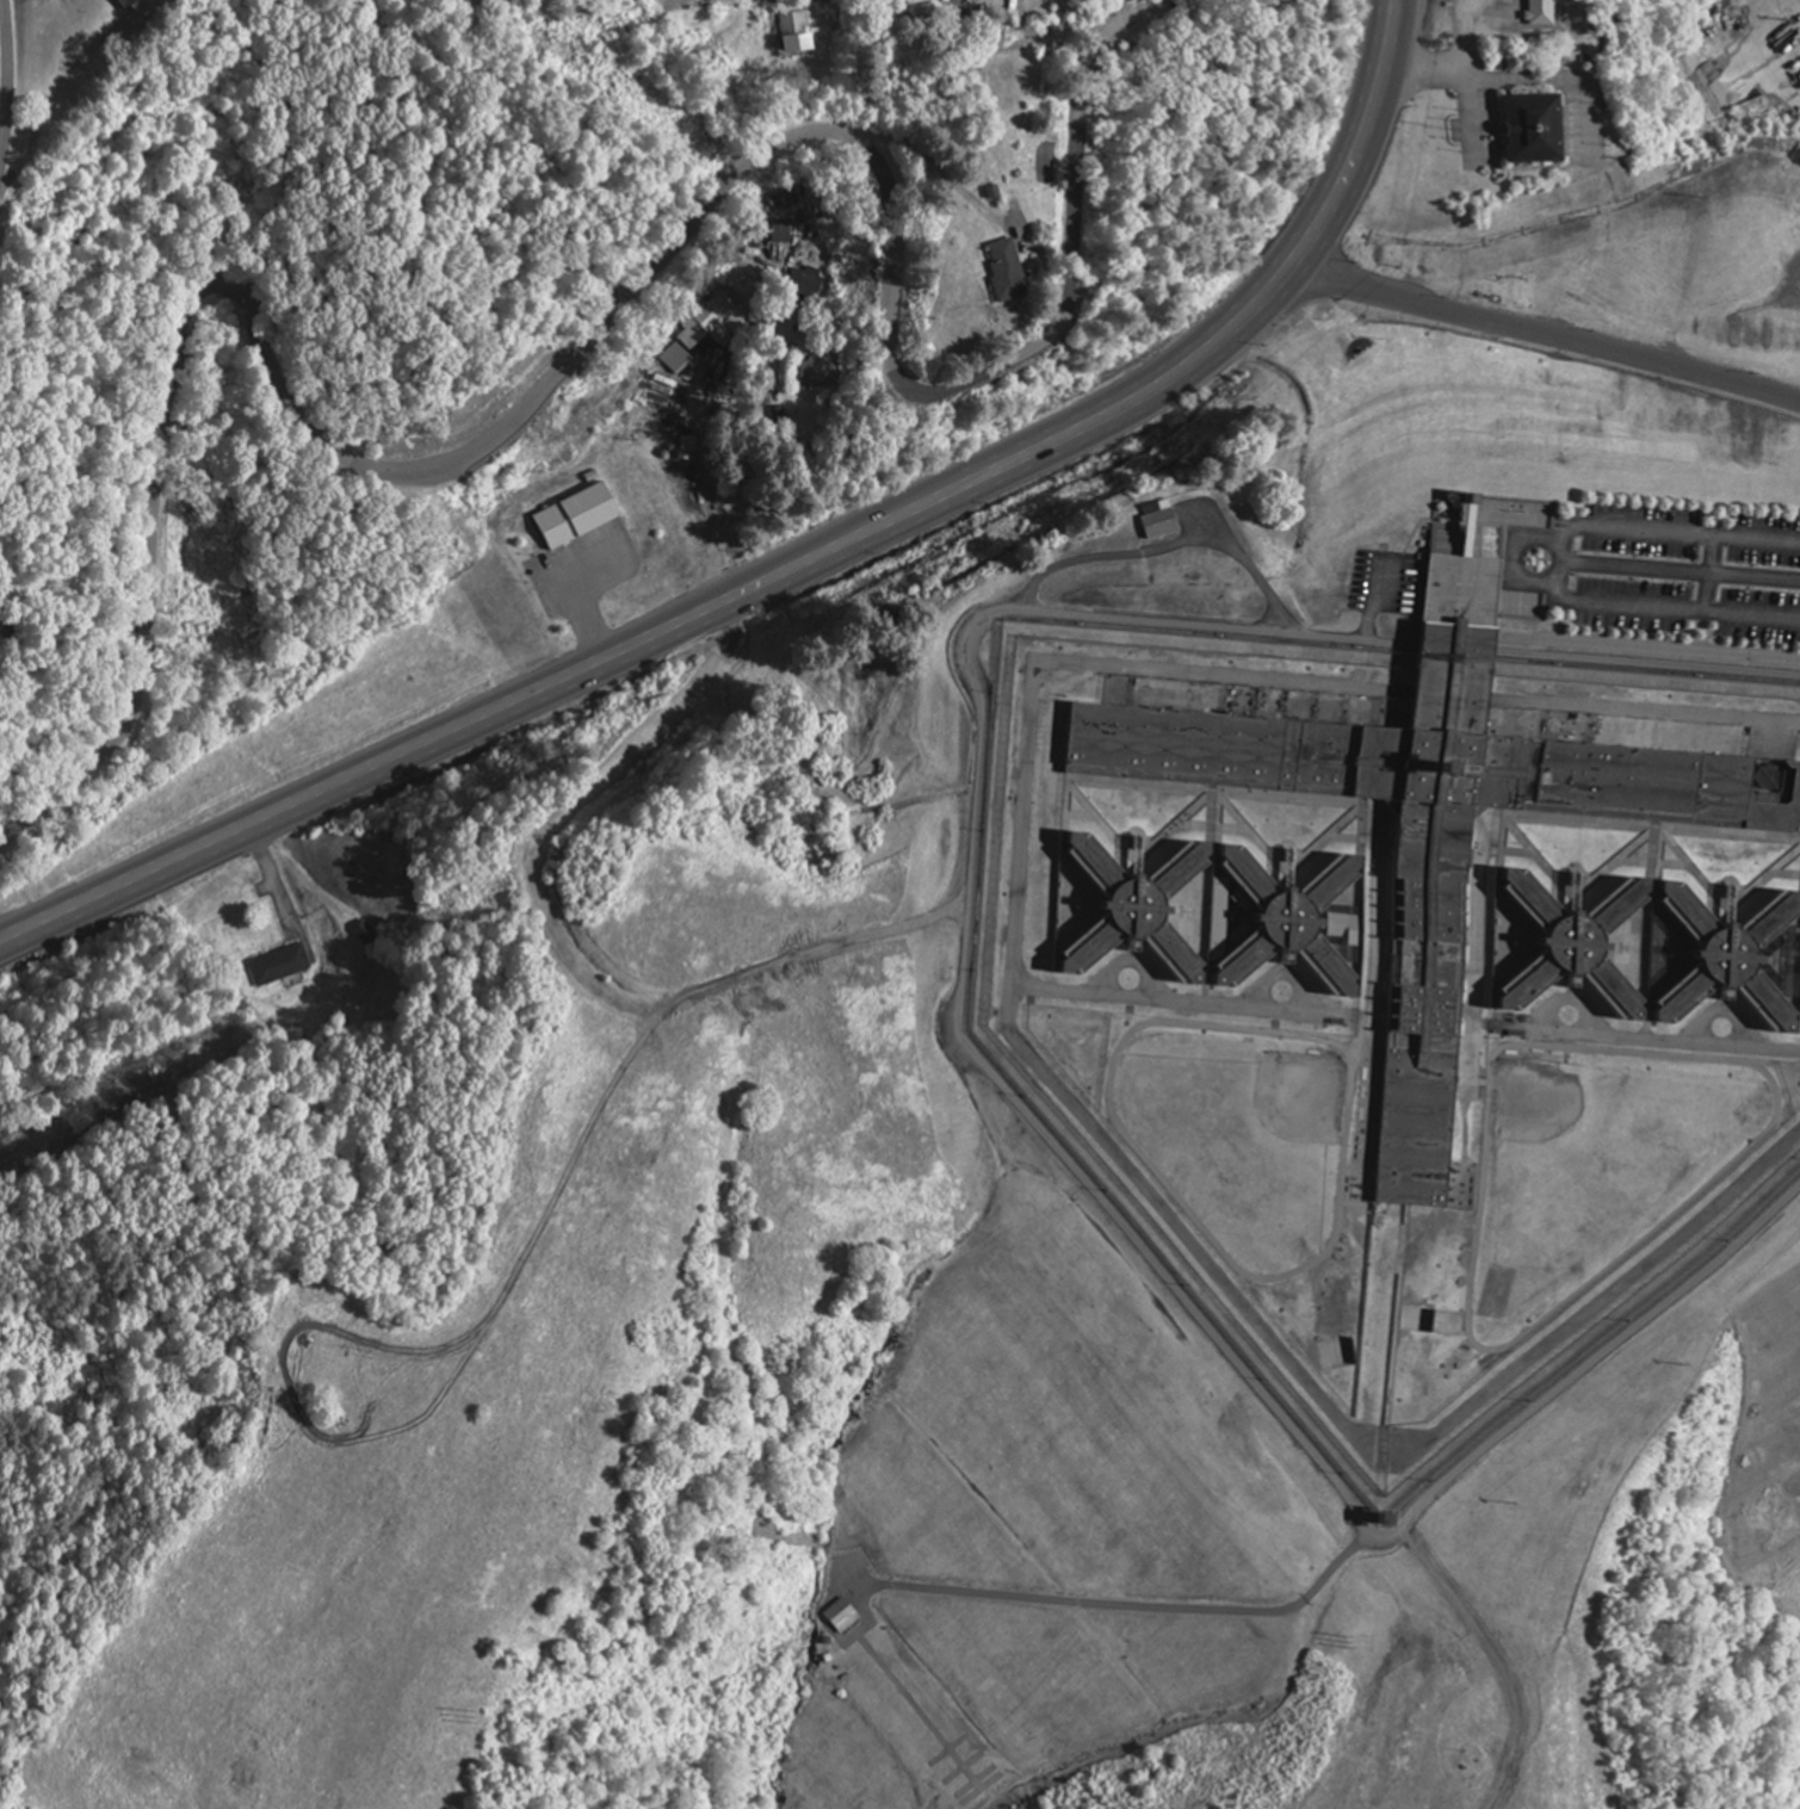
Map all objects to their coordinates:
road: (1250, 0)
road: (1157, 2)
building: (129, 4)
building: (1539, 12)
road: (569, 14)
building: (798, 32)
road: (963, 42)
road: (6, 86)
building: (1541, 132)
building: (784, 231)
building: (1010, 271)
building: (713, 321)
road: (1541, 339)
road: (589, 345)
building: (676, 358)
building: (579, 516)
building: (1163, 519)
road: (793, 571)
parking lot: (1688, 572)
building: (1443, 819)
building: (1220, 916)
building: (1647, 950)
building: (283, 965)
building: (849, 1615)

